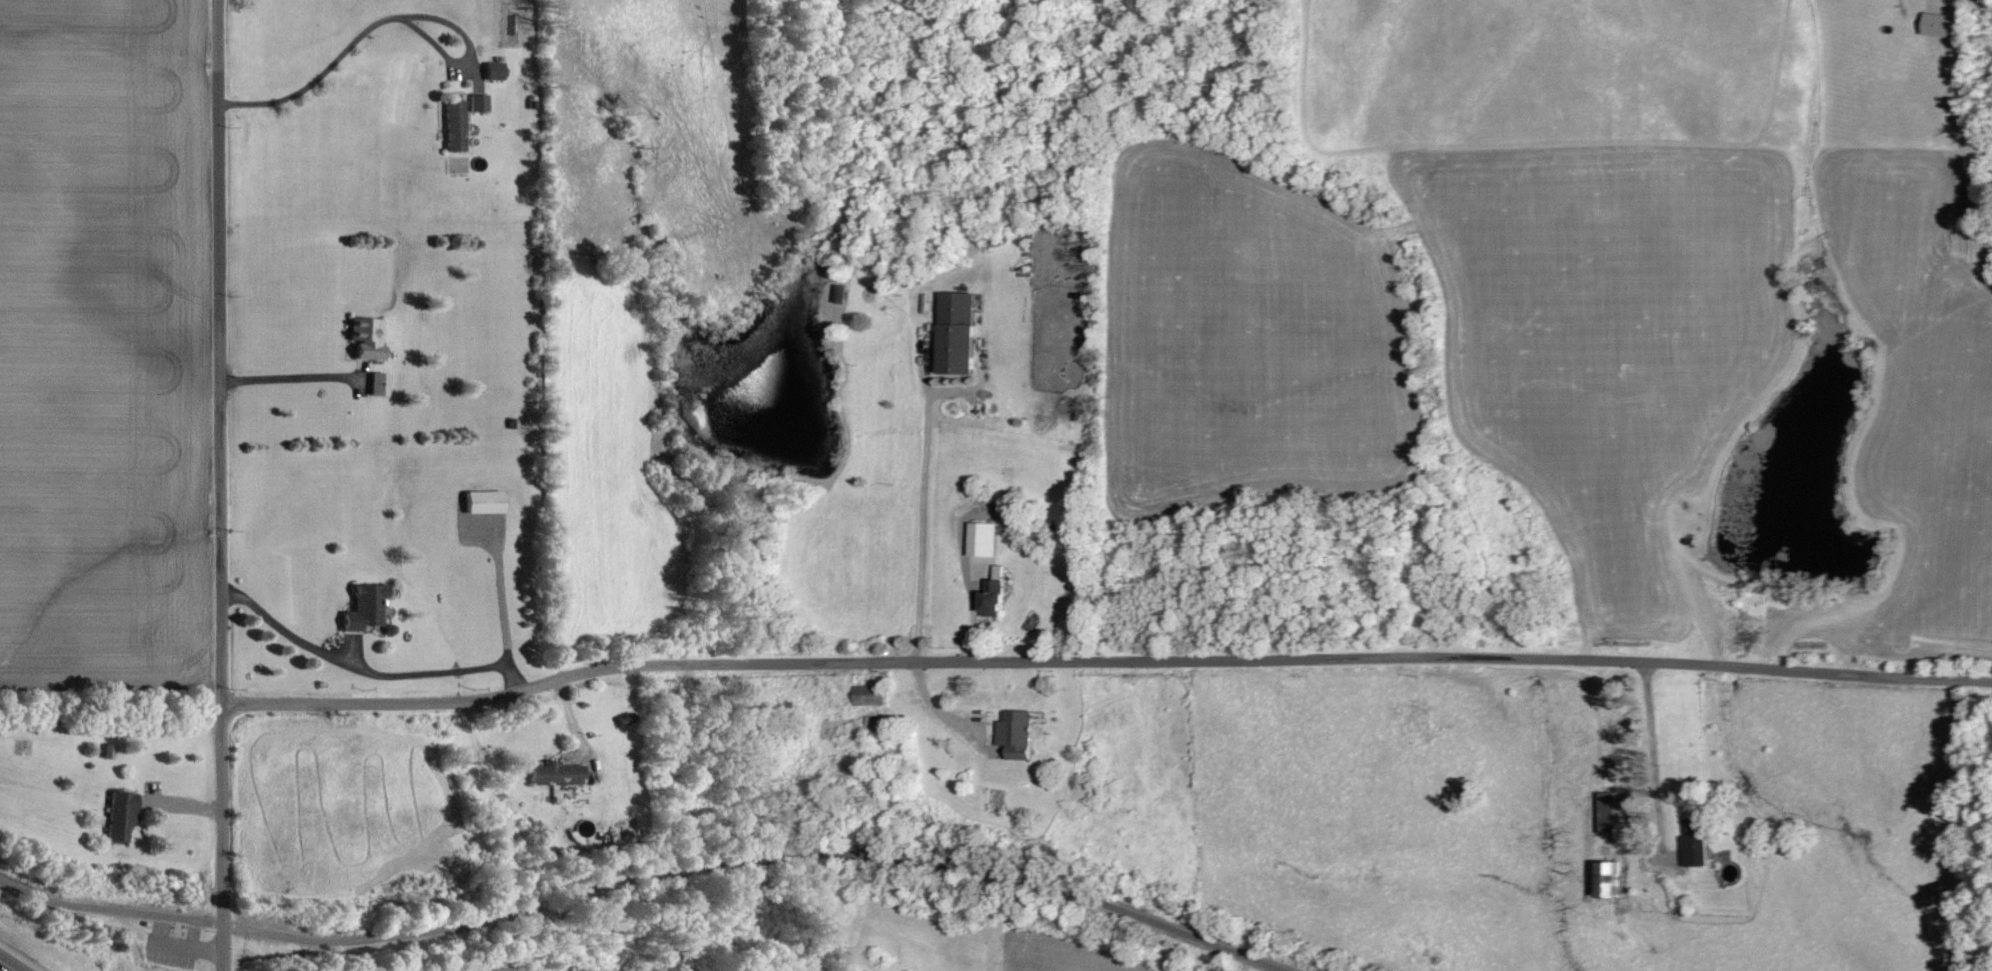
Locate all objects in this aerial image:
road: (385, 14)
building: (1935, 23)
building: (497, 69)
building: (480, 102)
building: (456, 125)
building: (963, 332)
building: (370, 338)
road: (287, 373)
building: (381, 383)
road: (217, 485)
building: (486, 501)
road: (922, 530)
building: (988, 538)
road: (500, 588)
building: (1000, 592)
building: (366, 606)
road: (1103, 658)
road: (367, 668)
building: (875, 695)
building: (880, 724)
building: (1022, 733)
road: (1655, 766)
building: (559, 775)
building: (1607, 810)
building: (123, 814)
building: (1692, 841)
road: (646, 873)
building: (1616, 879)
road: (179, 920)
parking lot: (172, 943)
road: (185, 945)
road: (6, 966)

